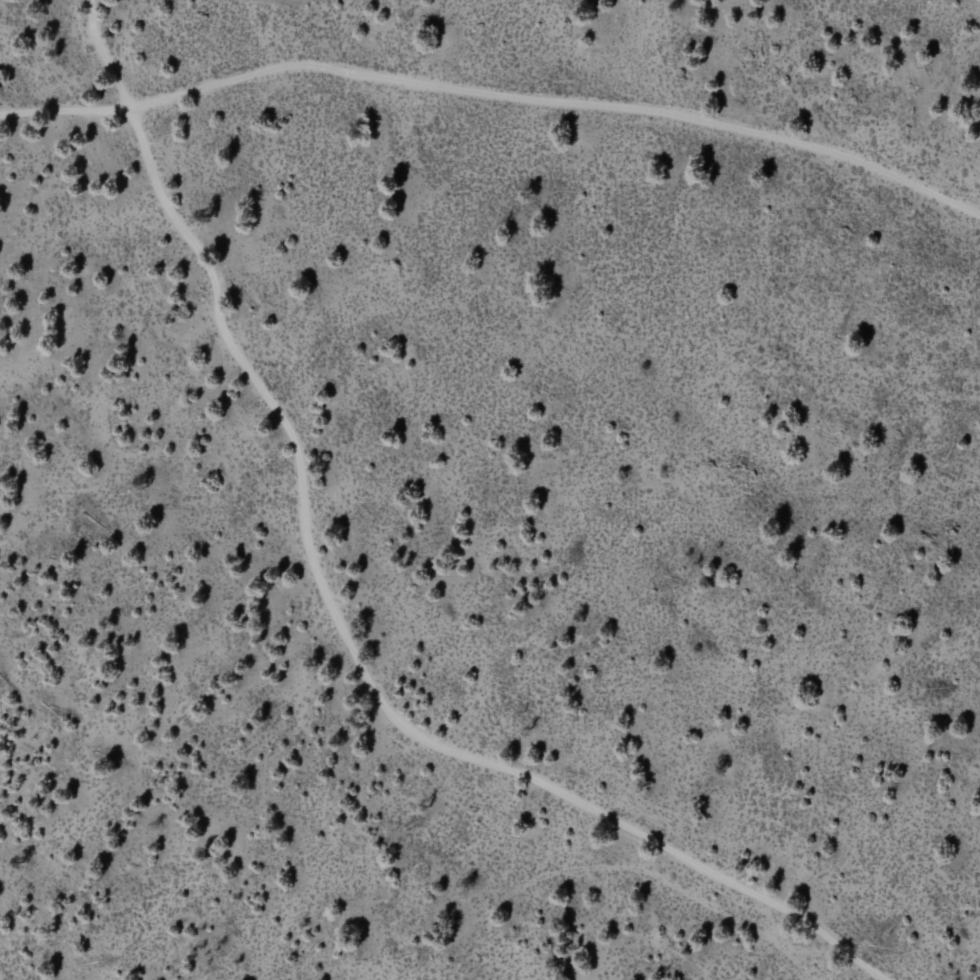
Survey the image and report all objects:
road: (495, 101)
road: (336, 616)
road: (623, 873)
road: (840, 965)

